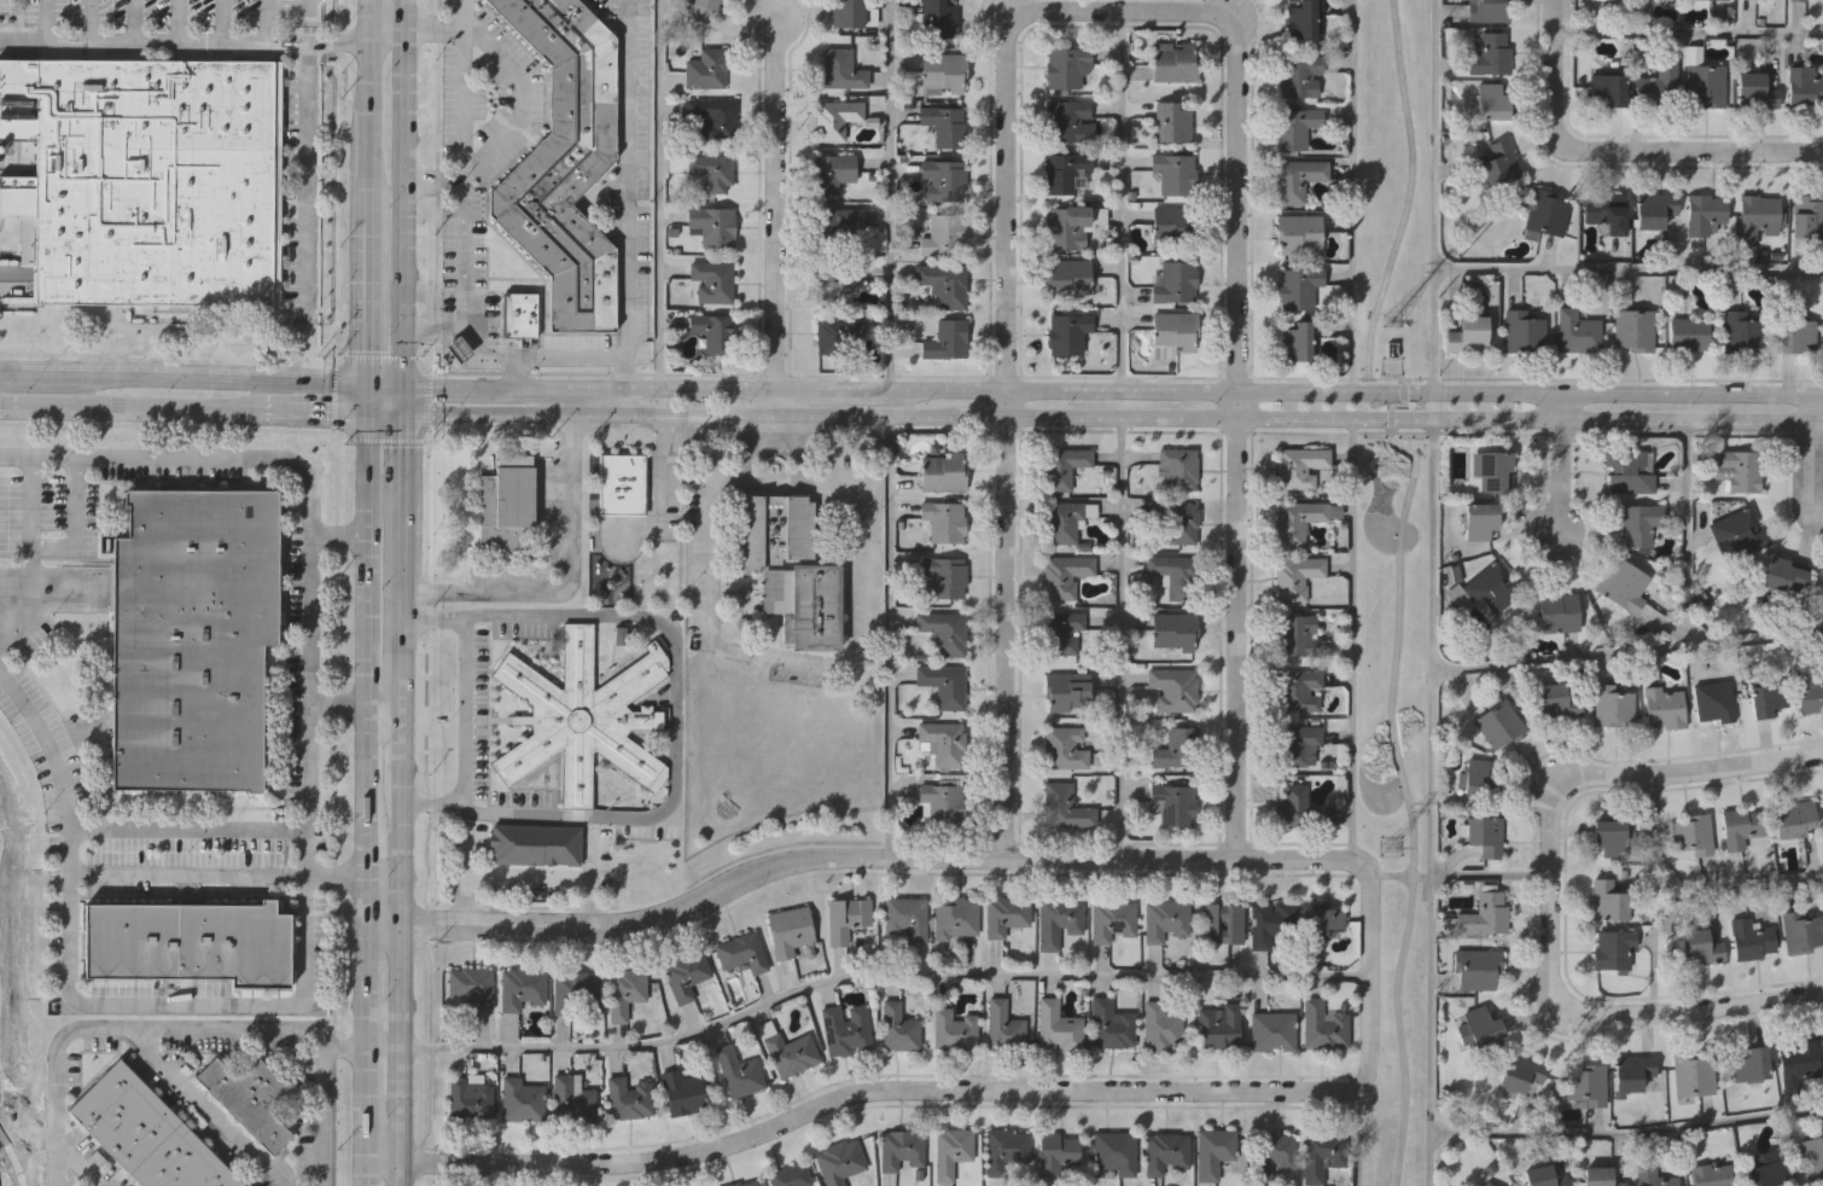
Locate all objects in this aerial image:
building: (1707, 0)
building: (1795, 0)
building: (701, 7)
building: (1489, 10)
building: (846, 12)
building: (940, 17)
road: (367, 21)
road: (400, 21)
building: (1304, 21)
road: (87, 22)
road: (133, 22)
road: (176, 22)
road: (43, 23)
road: (1688, 34)
road: (182, 42)
road: (383, 42)
building: (1490, 56)
building: (1065, 63)
building: (1171, 63)
building: (704, 69)
building: (840, 69)
building: (944, 69)
building: (1298, 77)
building: (1659, 81)
building: (1705, 82)
building: (1606, 86)
building: (1804, 86)
building: (1754, 88)
road: (462, 91)
road: (522, 100)
building: (1492, 101)
building: (835, 117)
building: (712, 118)
building: (1066, 118)
building: (1171, 120)
building: (945, 123)
building: (1295, 126)
road: (1621, 150)
building: (1501, 161)
building: (564, 163)
building: (711, 169)
building: (833, 170)
building: (1064, 170)
building: (1173, 170)
building: (146, 174)
building: (944, 176)
building: (1297, 176)
road: (625, 193)
road: (657, 193)
road: (892, 194)
road: (1352, 194)
road: (1435, 196)
road: (1124, 200)
road: (1406, 208)
building: (1655, 208)
building: (1604, 210)
road: (774, 211)
building: (1760, 211)
building: (1543, 213)
building: (1705, 213)
road: (305, 214)
building: (1807, 214)
road: (365, 215)
road: (398, 215)
building: (1175, 222)
building: (712, 223)
building: (1071, 223)
building: (835, 225)
building: (1299, 231)
building: (942, 233)
road: (1630, 268)
building: (1066, 274)
building: (834, 278)
building: (711, 281)
building: (1172, 281)
building: (943, 284)
building: (1299, 285)
road: (465, 296)
building: (520, 314)
power tower: (1391, 322)
road: (432, 329)
building: (1633, 329)
building: (1175, 330)
building: (1522, 330)
building: (1743, 330)
road: (998, 331)
building: (712, 332)
building: (840, 332)
building: (1066, 332)
building: (1574, 332)
building: (1688, 333)
building: (1467, 335)
building: (1794, 335)
building: (1299, 338)
building: (947, 339)
building: (455, 350)
road: (561, 354)
road: (25, 377)
road: (208, 382)
traffic signals: (363, 388)
road: (380, 388)
traffic signals: (397, 388)
road: (1109, 390)
road: (363, 400)
road: (397, 401)
road: (567, 401)
road: (37, 407)
road: (169, 409)
road: (313, 412)
traffic signals: (363, 413)
road: (380, 413)
traffic signals: (397, 414)
road: (1109, 417)
road: (1236, 434)
road: (215, 457)
road: (1560, 460)
building: (1062, 466)
building: (1298, 466)
building: (1180, 469)
building: (1626, 469)
building: (1491, 470)
building: (1737, 470)
building: (944, 471)
building: (624, 482)
building: (505, 505)
building: (947, 518)
building: (1295, 521)
building: (1477, 521)
building: (1639, 521)
building: (1065, 522)
building: (1173, 522)
building: (771, 524)
road: (1688, 531)
building: (1737, 531)
building: (1175, 574)
building: (1064, 575)
building: (1783, 575)
building: (1293, 576)
building: (944, 577)
road: (563, 581)
building: (1624, 585)
building: (1484, 587)
building: (624, 589)
building: (804, 606)
building: (1556, 611)
building: (1175, 629)
building: (1060, 632)
building: (944, 633)
building: (191, 636)
road: (892, 636)
building: (1295, 636)
road: (1122, 638)
road: (1355, 639)
road: (310, 650)
road: (1629, 652)
road: (793, 658)
road: (366, 670)
road: (394, 672)
building: (942, 685)
building: (1173, 688)
building: (1294, 690)
building: (1807, 690)
building: (1067, 691)
building: (1770, 699)
building: (1559, 702)
building: (1716, 703)
building: (1613, 707)
building: (1666, 708)
road: (464, 709)
road: (379, 713)
building: (583, 715)
road: (678, 717)
building: (1498, 723)
building: (940, 744)
building: (1293, 744)
road: (46, 745)
building: (1064, 748)
building: (1178, 748)
road: (308, 768)
road: (1400, 772)
building: (1478, 774)
road: (1433, 802)
building: (942, 803)
building: (1173, 804)
building: (1822, 806)
building: (1062, 808)
building: (1299, 809)
building: (1790, 818)
building: (1740, 826)
road: (292, 829)
building: (1484, 836)
building: (1690, 836)
building: (1612, 838)
building: (535, 845)
power tower: (1393, 848)
road: (969, 856)
road: (525, 871)
road: (1491, 876)
road: (1689, 890)
road: (1549, 893)
building: (1607, 900)
building: (1484, 913)
building: (1006, 914)
building: (848, 915)
building: (907, 915)
building: (956, 915)
building: (1166, 919)
building: (1324, 919)
building: (1059, 920)
building: (1112, 920)
building: (1222, 922)
building: (1272, 922)
road: (378, 929)
building: (791, 929)
building: (1801, 932)
building: (186, 941)
building: (1751, 941)
building: (1699, 947)
building: (1614, 948)
road: (1655, 948)
building: (744, 952)
building: (1477, 966)
building: (688, 972)
road: (874, 976)
building: (472, 986)
building: (524, 986)
building: (576, 989)
building: (628, 990)
building: (1109, 1023)
building: (1480, 1024)
building: (1004, 1025)
building: (1159, 1025)
building: (1219, 1025)
building: (898, 1027)
building: (1059, 1027)
building: (1324, 1027)
road: (190, 1028)
building: (845, 1029)
building: (953, 1029)
building: (1274, 1029)
road: (363, 1042)
road: (392, 1043)
road: (343, 1047)
building: (788, 1051)
building: (1799, 1059)
building: (1752, 1063)
building: (1522, 1070)
building: (736, 1071)
building: (1633, 1071)
building: (1694, 1072)
building: (1588, 1083)
building: (685, 1089)
road: (866, 1091)
building: (250, 1097)
building: (631, 1097)
building: (467, 1099)
building: (523, 1100)
building: (573, 1101)
road: (205, 1106)
building: (147, 1133)
road: (1361, 1135)
road: (1627, 1135)
building: (902, 1147)
building: (1006, 1147)
building: (953, 1150)
building: (1116, 1151)
building: (1164, 1151)
building: (1212, 1151)
building: (1053, 1152)
building: (1323, 1152)
building: (1271, 1153)
building: (1812, 1155)
building: (839, 1162)
road: (74, 1165)
road: (361, 1172)
road: (392, 1172)
building: (1765, 1173)
building: (1652, 1175)
building: (1711, 1175)
building: (788, 1176)
building: (1543, 1176)
building: (1600, 1176)
building: (1485, 1182)
building: (742, 1184)

